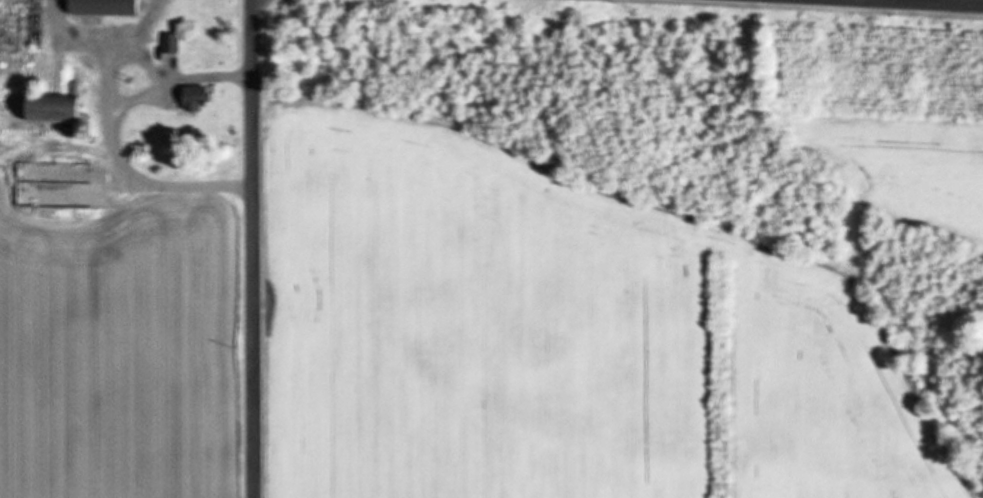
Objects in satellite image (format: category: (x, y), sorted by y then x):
road: (901, 4)
building: (100, 7)
building: (170, 43)
building: (193, 98)
building: (42, 111)
road: (254, 248)

